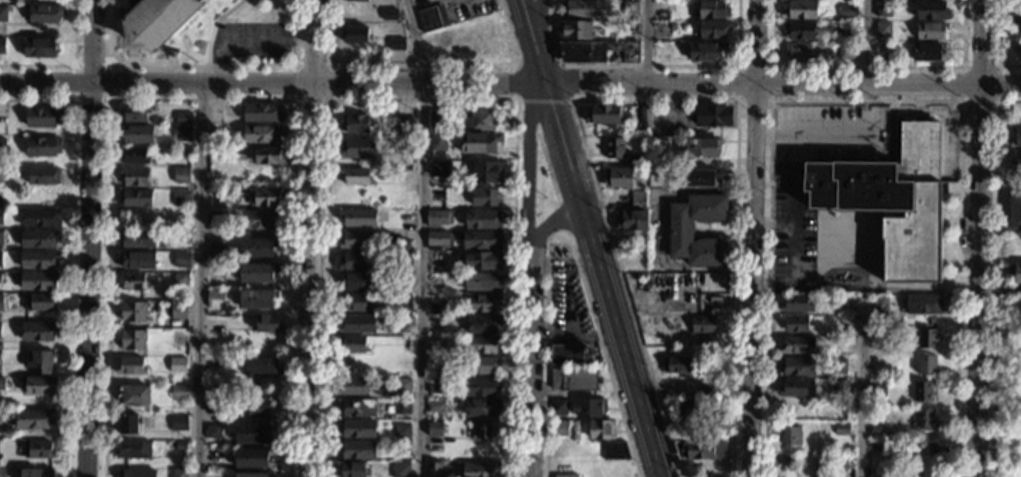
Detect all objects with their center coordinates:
building: (356, 1)
building: (629, 9)
building: (578, 10)
building: (710, 11)
building: (799, 11)
building: (882, 11)
building: (929, 12)
building: (846, 13)
building: (2, 14)
building: (43, 14)
building: (389, 15)
building: (430, 19)
building: (1018, 19)
building: (168, 23)
road: (213, 26)
building: (904, 27)
building: (574, 31)
building: (711, 31)
building: (799, 32)
building: (881, 32)
building: (929, 33)
building: (356, 35)
road: (246, 38)
road: (531, 40)
road: (542, 40)
road: (646, 40)
road: (868, 41)
building: (396, 44)
road: (998, 44)
building: (1018, 45)
building: (1, 46)
building: (39, 48)
building: (881, 49)
building: (483, 51)
building: (595, 52)
building: (705, 52)
building: (797, 53)
building: (845, 53)
building: (926, 53)
road: (69, 65)
road: (106, 65)
road: (201, 65)
road: (423, 65)
road: (537, 65)
road: (649, 66)
road: (867, 67)
road: (271, 80)
road: (782, 82)
road: (329, 99)
road: (646, 99)
road: (770, 99)
road: (200, 100)
road: (421, 100)
road: (542, 100)
road: (866, 101)
road: (999, 101)
building: (135, 113)
building: (261, 113)
building: (643, 114)
building: (213, 115)
building: (602, 115)
building: (2, 116)
building: (41, 117)
building: (435, 117)
building: (711, 117)
building: (179, 118)
building: (479, 121)
road: (526, 122)
building: (354, 124)
building: (402, 127)
building: (136, 134)
building: (260, 134)
building: (182, 135)
road: (814, 137)
building: (1016, 139)
building: (436, 142)
building: (2, 143)
building: (478, 143)
building: (41, 146)
building: (355, 149)
building: (613, 149)
building: (699, 149)
building: (184, 152)
building: (133, 156)
building: (268, 156)
building: (654, 157)
building: (1015, 161)
building: (637, 162)
road: (547, 165)
road: (527, 166)
building: (438, 170)
building: (485, 172)
building: (1, 174)
building: (180, 176)
building: (42, 177)
building: (134, 177)
building: (354, 177)
building: (402, 177)
building: (617, 179)
building: (699, 179)
building: (216, 196)
building: (436, 197)
building: (266, 198)
building: (483, 198)
building: (135, 199)
building: (181, 199)
building: (892, 201)
building: (1015, 213)
building: (632, 215)
building: (0, 217)
building: (40, 218)
building: (358, 218)
building: (439, 218)
road: (562, 218)
building: (216, 219)
building: (258, 219)
building: (482, 220)
road: (772, 222)
road: (792, 224)
road: (547, 225)
road: (563, 233)
building: (679, 234)
road: (423, 236)
building: (182, 237)
building: (0, 238)
road: (86, 238)
road: (311, 238)
road: (751, 238)
road: (976, 238)
building: (38, 239)
building: (136, 239)
building: (437, 240)
building: (480, 240)
building: (354, 241)
building: (1016, 243)
building: (400, 245)
building: (215, 246)
building: (257, 248)
road: (71, 251)
building: (0, 259)
building: (135, 259)
building: (38, 260)
building: (180, 260)
building: (403, 261)
building: (481, 262)
building: (351, 263)
building: (215, 271)
building: (256, 274)
building: (1018, 274)
building: (639, 277)
building: (697, 277)
road: (200, 278)
road: (600, 279)
building: (180, 280)
building: (37, 281)
building: (132, 282)
building: (352, 282)
building: (402, 282)
building: (434, 282)
building: (480, 283)
road: (996, 289)
building: (214, 298)
building: (257, 299)
building: (404, 302)
building: (883, 302)
building: (0, 303)
building: (39, 303)
building: (481, 303)
building: (840, 303)
building: (353, 304)
building: (794, 305)
building: (922, 305)
building: (436, 308)
building: (177, 311)
building: (132, 312)
building: (357, 324)
building: (403, 324)
building: (266, 325)
building: (482, 325)
building: (701, 325)
building: (795, 325)
building: (658, 326)
building: (0, 331)
building: (36, 331)
building: (924, 339)
building: (131, 340)
building: (434, 342)
building: (350, 344)
building: (481, 345)
building: (795, 347)
building: (567, 355)
building: (719, 361)
building: (39, 363)
building: (231, 364)
building: (432, 364)
building: (260, 365)
building: (177, 366)
building: (479, 366)
road: (527, 366)
building: (677, 366)
building: (130, 367)
building: (403, 367)
building: (837, 367)
building: (924, 367)
building: (795, 368)
building: (573, 379)
building: (1, 384)
building: (403, 385)
building: (38, 386)
building: (434, 386)
road: (860, 387)
building: (351, 388)
building: (479, 388)
building: (838, 389)
building: (794, 390)
building: (876, 390)
park: (1004, 390)
building: (709, 391)
building: (178, 393)
building: (921, 393)
building: (134, 396)
building: (213, 406)
building: (357, 407)
building: (433, 407)
building: (557, 407)
building: (399, 408)
building: (481, 408)
building: (589, 408)
building: (686, 409)
building: (257, 410)
building: (0, 416)
building: (33, 419)
building: (922, 421)
building: (128, 424)
building: (178, 424)
building: (558, 429)
building: (355, 430)
building: (433, 430)
building: (840, 430)
building: (212, 431)
building: (481, 431)
building: (600, 431)
building: (401, 432)
building: (876, 433)
building: (251, 435)
building: (790, 438)
building: (177, 447)
building: (927, 449)
building: (37, 450)
building: (132, 451)
building: (356, 451)
building: (613, 451)
building: (698, 451)
building: (876, 451)
building: (212, 457)
building: (251, 458)
building: (837, 461)
building: (785, 462)
building: (816, 465)
building: (353, 469)
building: (401, 469)
building: (432, 470)
building: (480, 470)
building: (910, 471)
building: (36, 473)
building: (135, 473)
building: (178, 473)
building: (211, 475)
building: (250, 475)
building: (568, 476)

